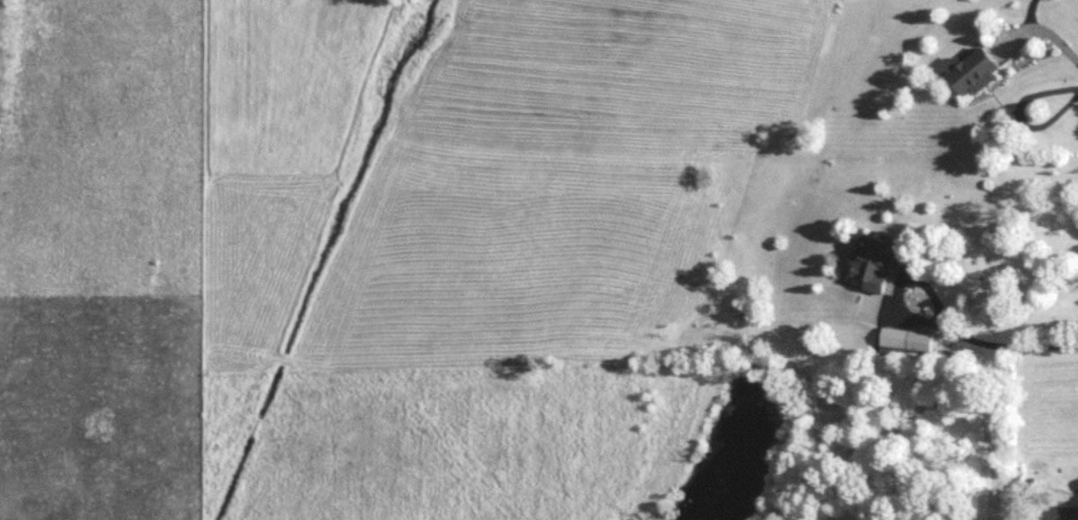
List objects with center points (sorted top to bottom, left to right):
road: (1040, 32)
building: (972, 70)
building: (875, 259)
road: (901, 281)
building: (904, 340)
road: (1006, 345)
building: (1061, 512)

